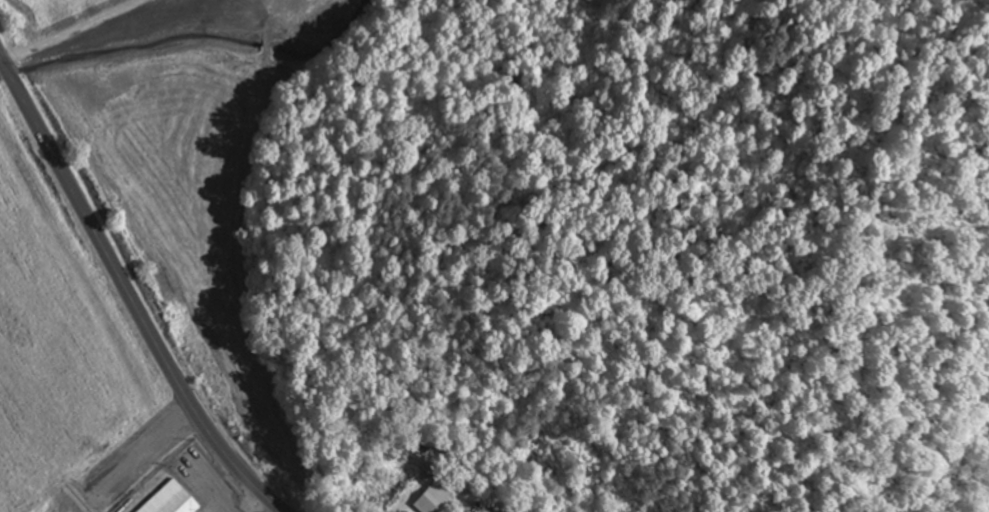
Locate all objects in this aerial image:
road: (140, 36)
road: (128, 294)
building: (139, 390)
building: (436, 499)
building: (174, 500)

